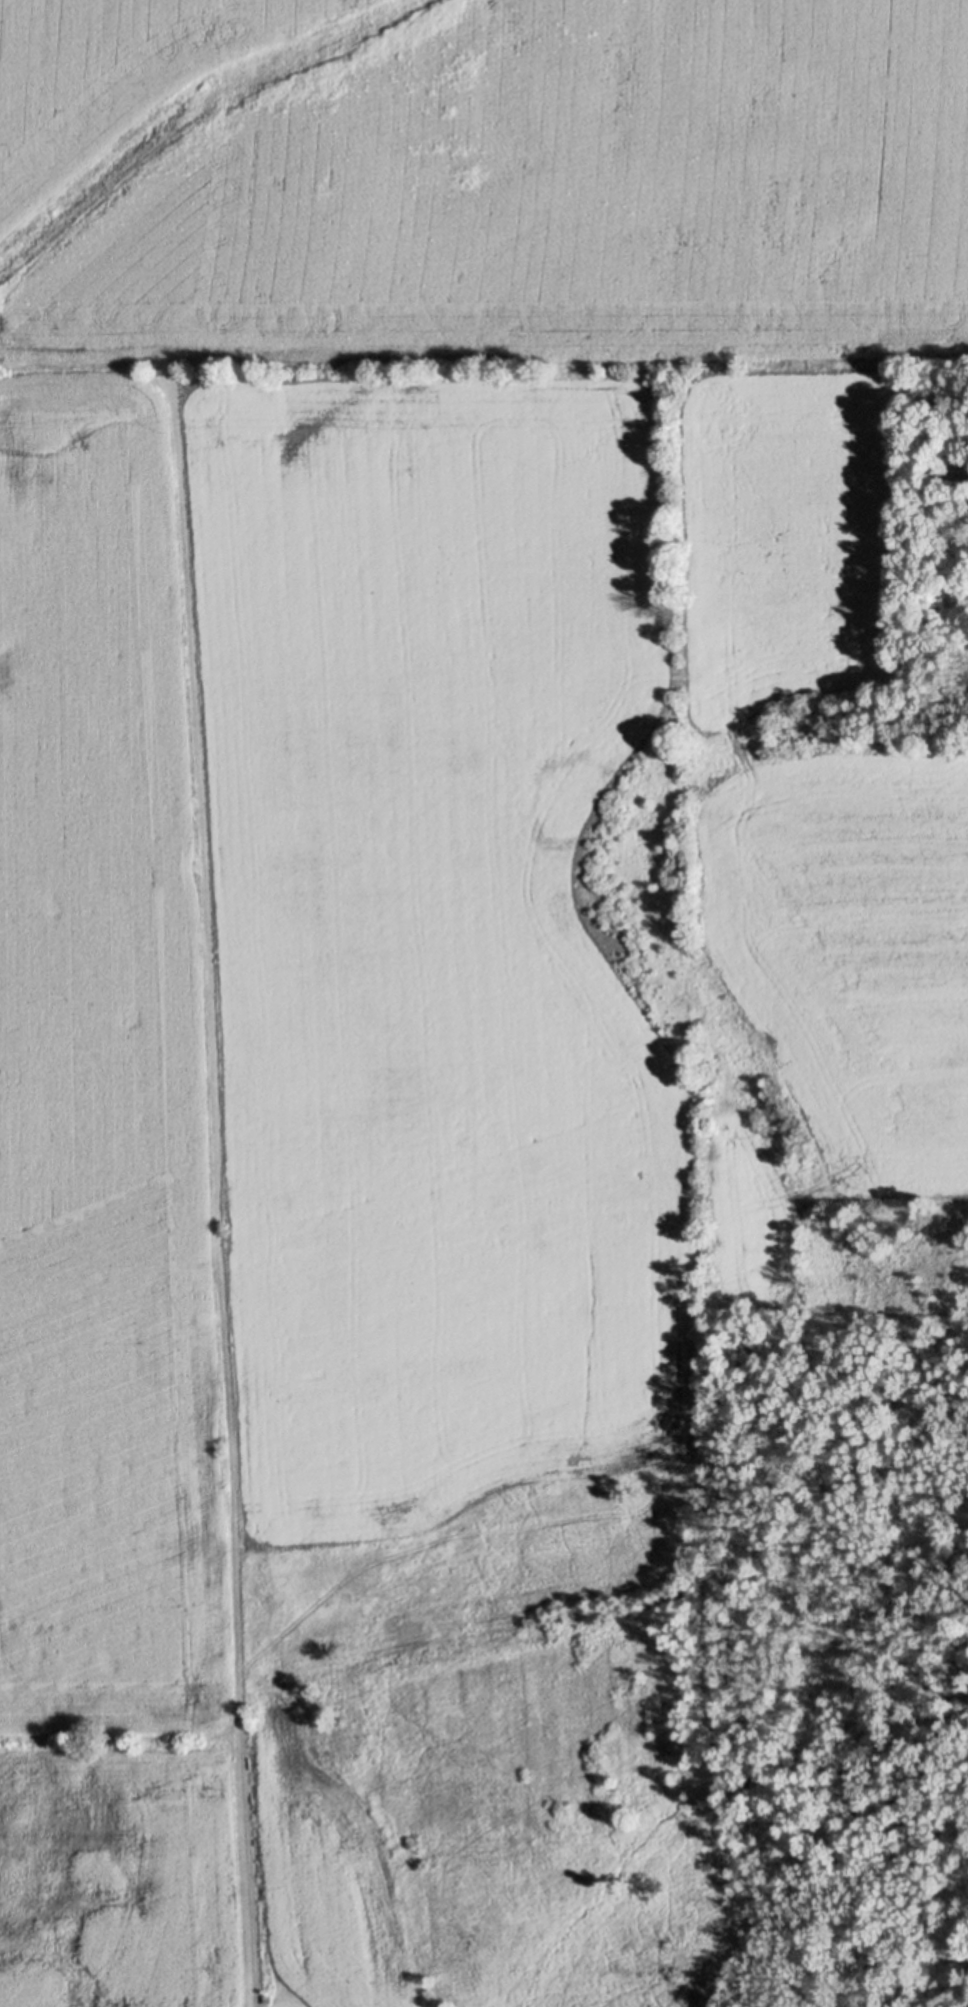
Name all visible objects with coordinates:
building: (267, 1999)

